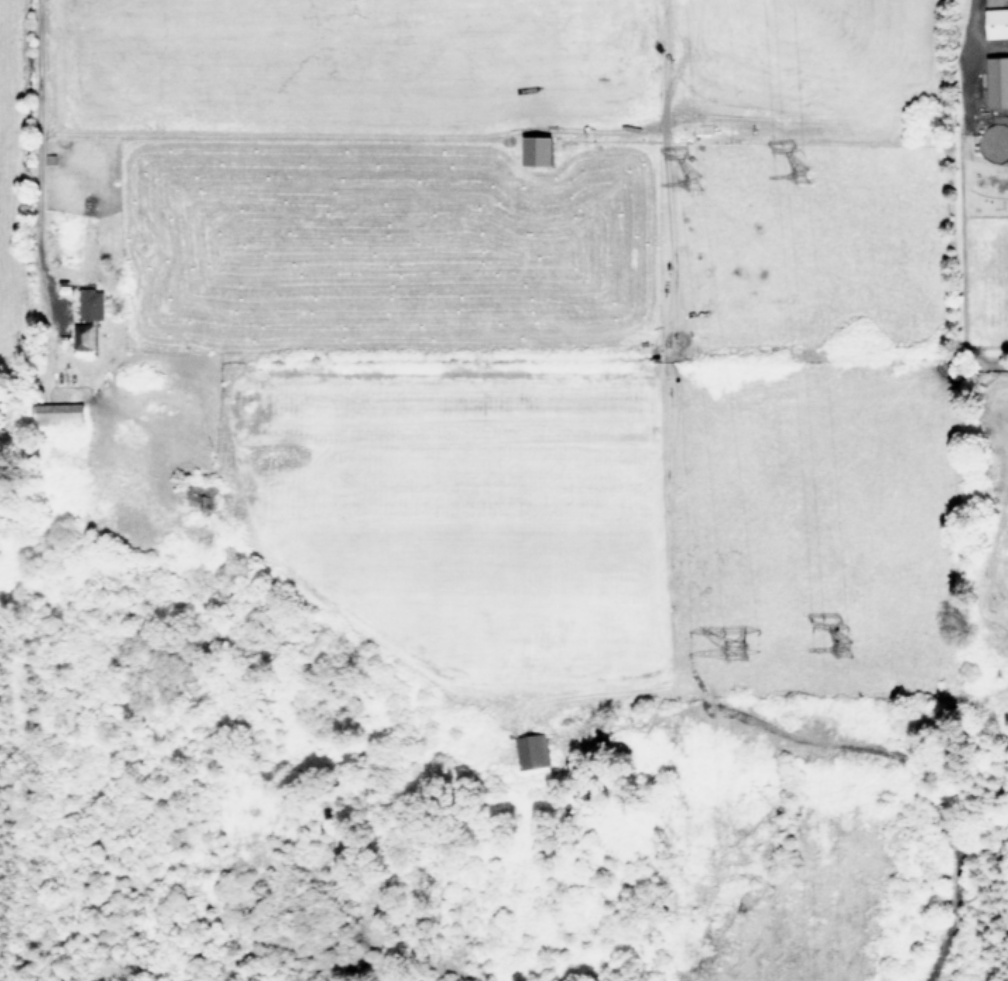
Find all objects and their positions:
building: (997, 22)
building: (998, 81)
building: (538, 149)
power tower: (807, 180)
power tower: (703, 187)
road: (38, 242)
building: (88, 318)
building: (60, 413)
power tower: (851, 642)
power tower: (742, 649)
building: (530, 749)

